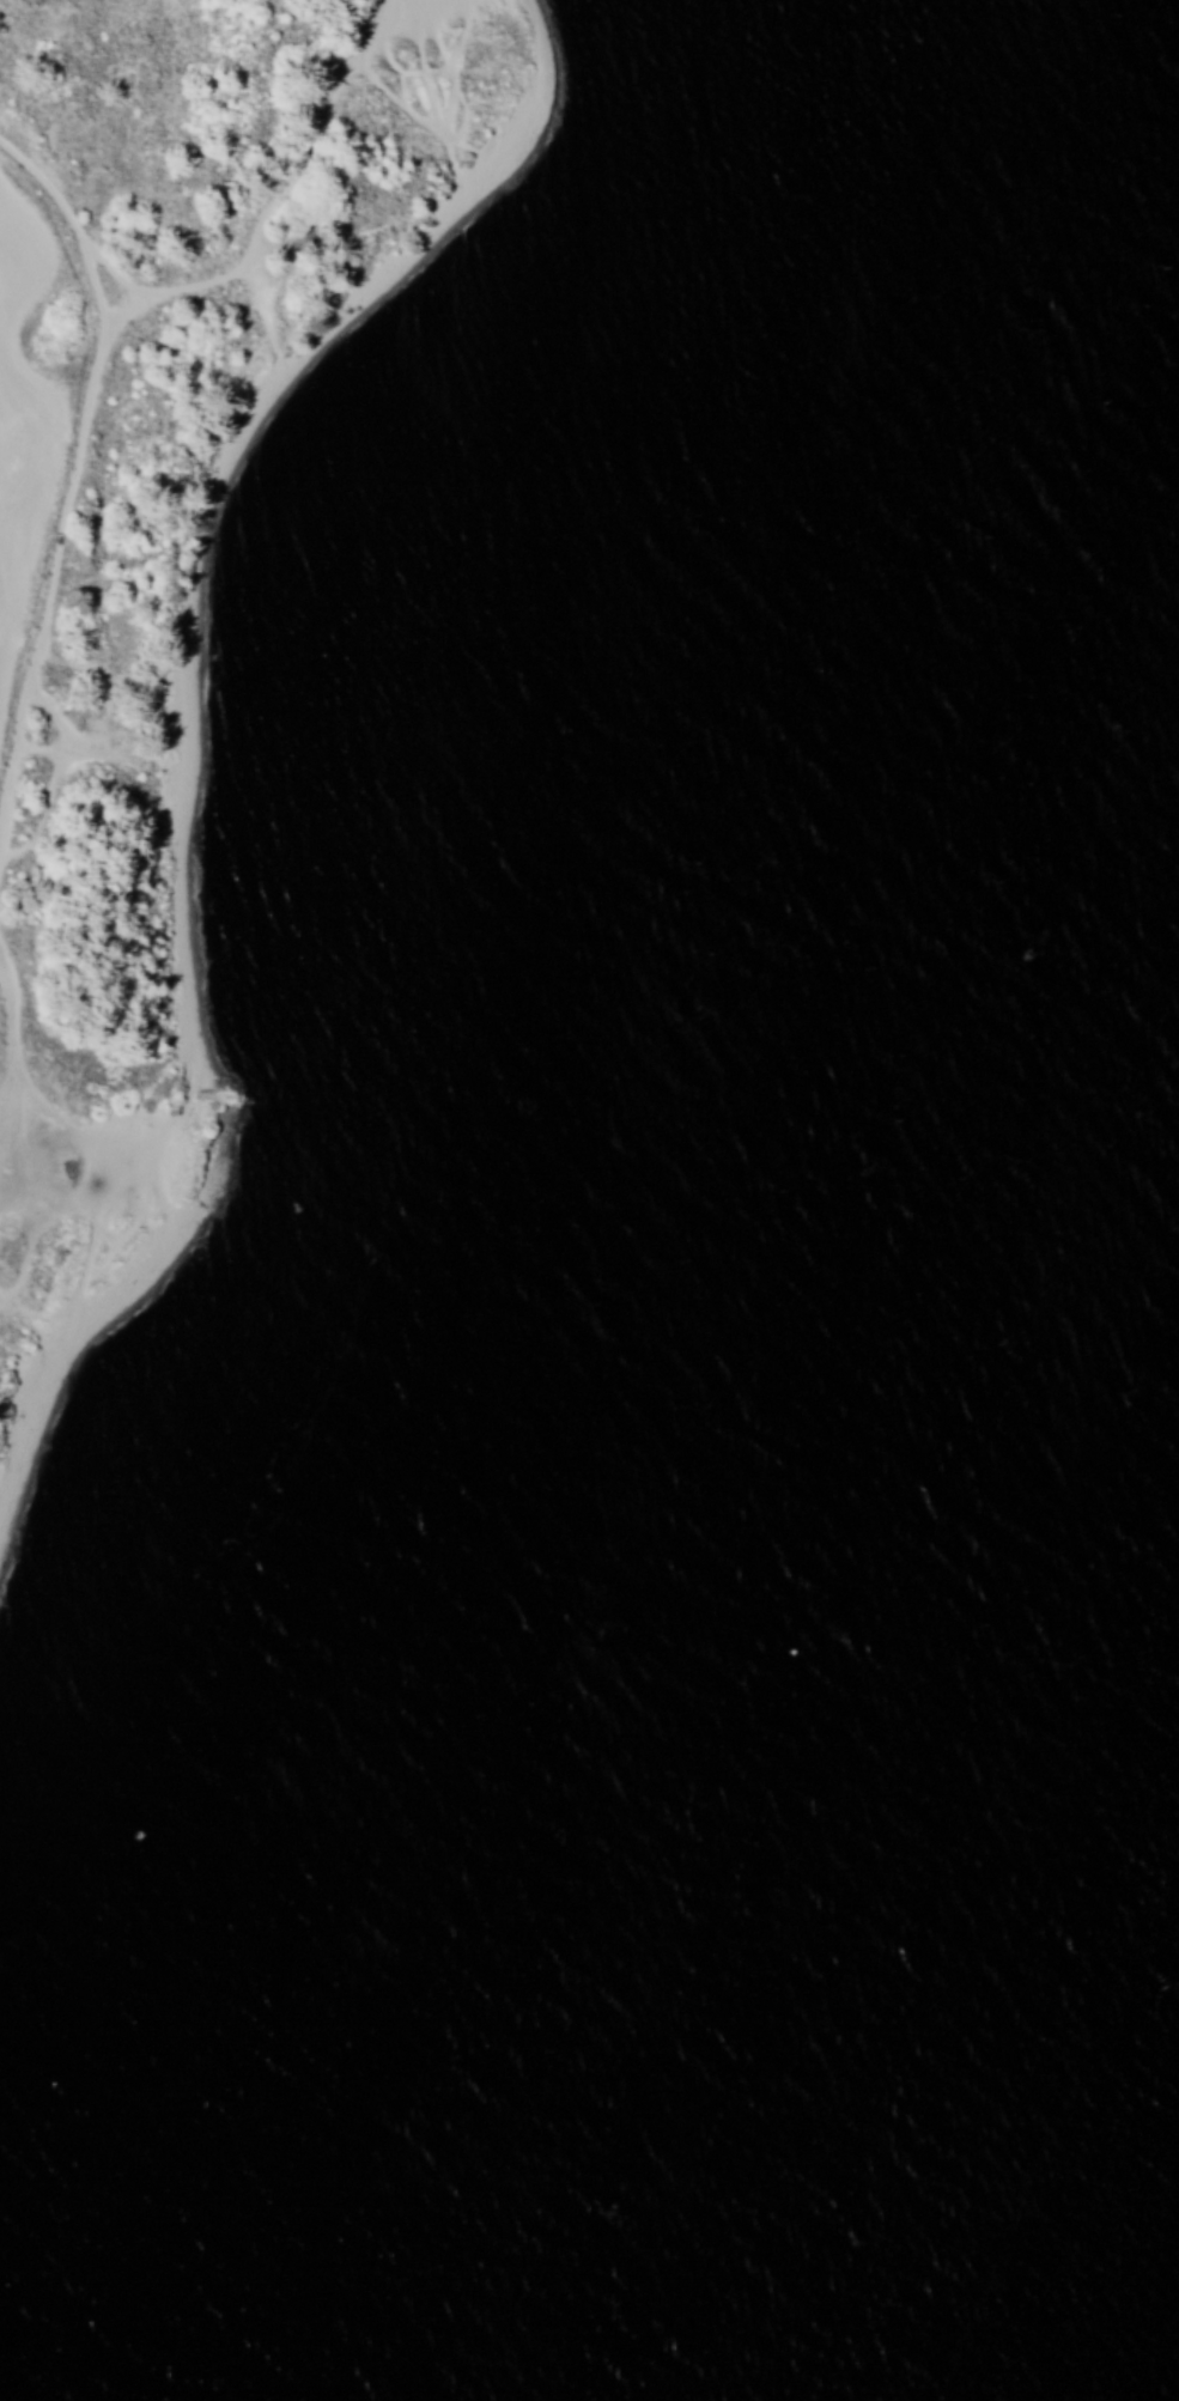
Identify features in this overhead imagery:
road: (265, 211)
road: (61, 449)
river: (919, 1850)

